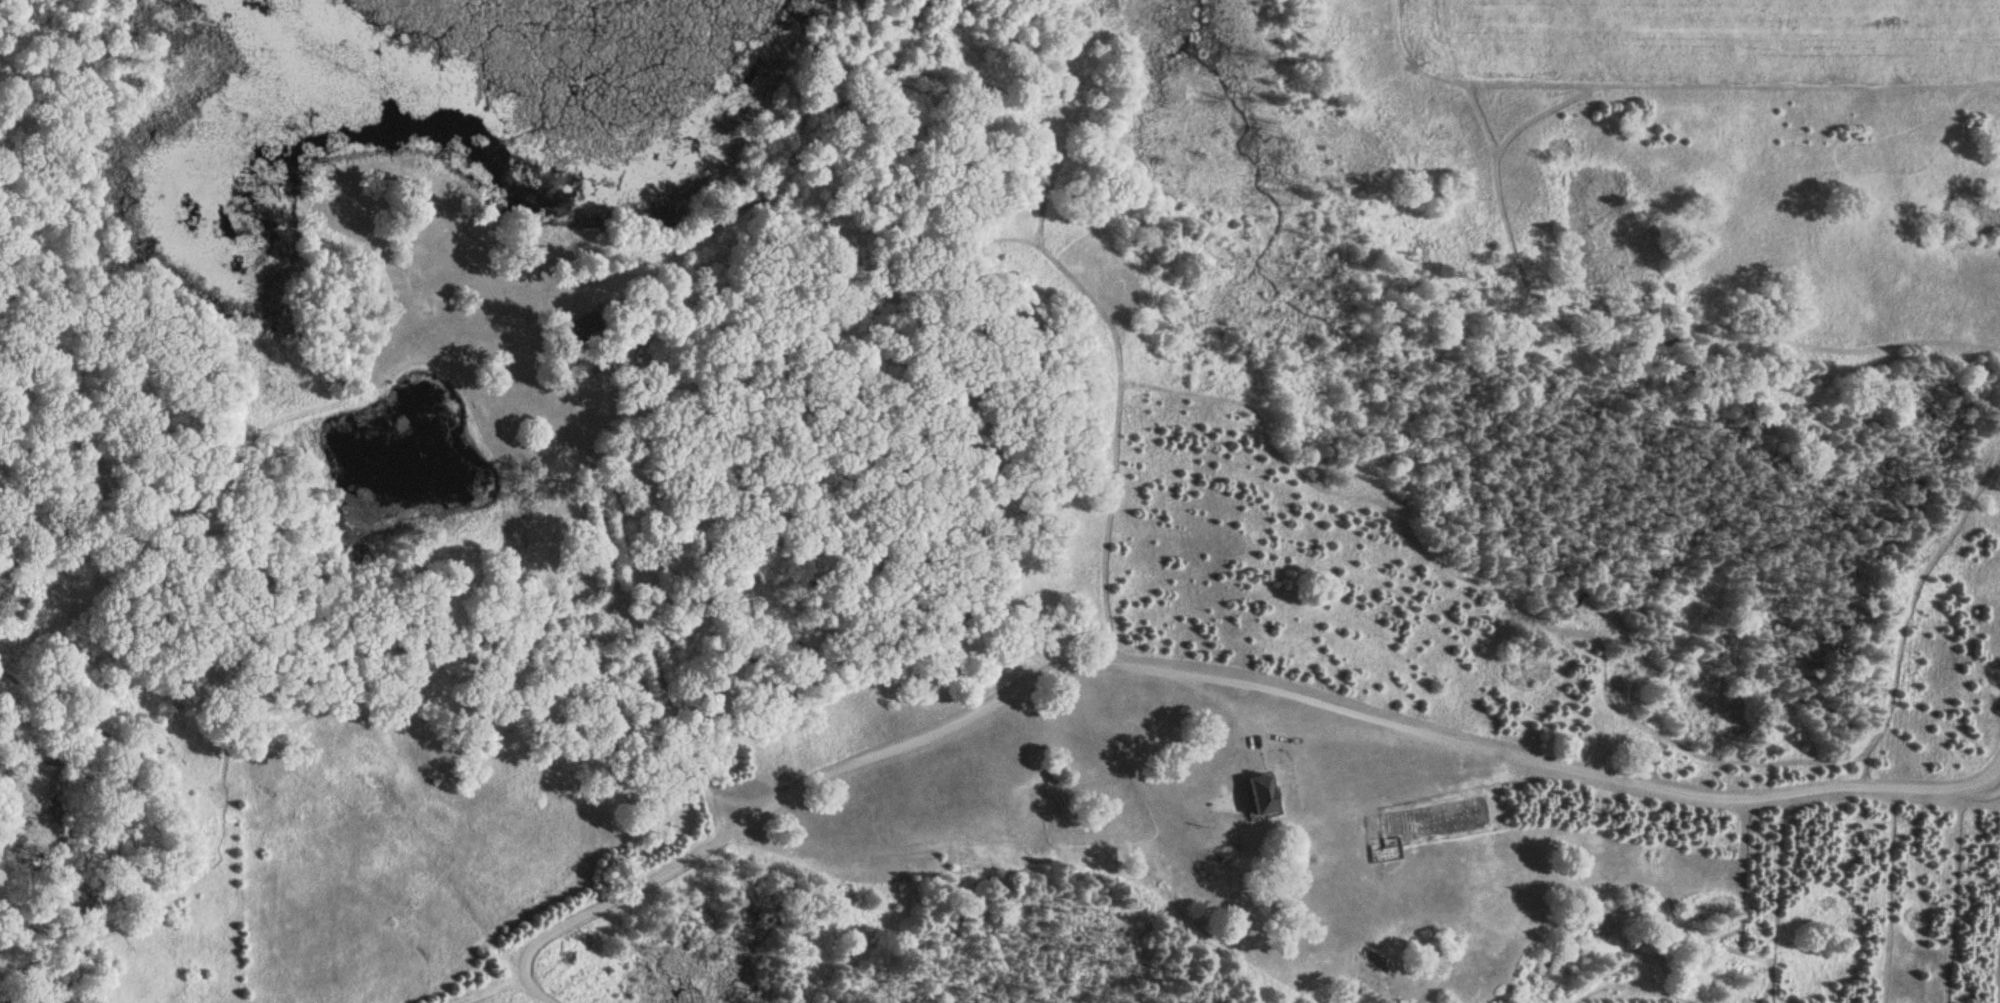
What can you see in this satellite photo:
road: (1218, 677)
building: (1183, 698)
road: (1971, 793)
building: (1265, 794)
road: (543, 995)

